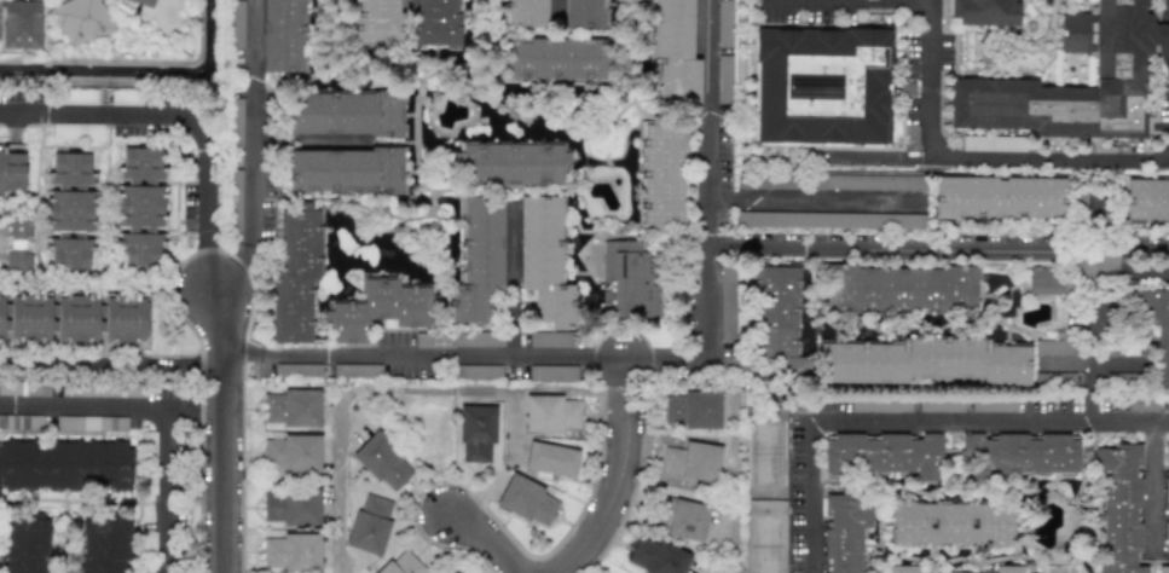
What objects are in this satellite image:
road: (879, 1)
building: (143, 2)
road: (409, 4)
road: (556, 4)
building: (984, 12)
building: (526, 13)
building: (583, 13)
building: (80, 21)
building: (377, 22)
building: (436, 23)
building: (724, 23)
building: (21, 24)
building: (236, 24)
road: (1167, 25)
building: (282, 36)
building: (675, 52)
building: (556, 58)
building: (1117, 65)
building: (724, 79)
building: (822, 86)
building: (79, 95)
building: (347, 114)
road: (147, 118)
road: (308, 143)
building: (993, 143)
road: (250, 149)
road: (976, 155)
building: (511, 162)
building: (11, 170)
building: (345, 170)
building: (661, 176)
building: (870, 181)
road: (811, 197)
building: (999, 197)
building: (1146, 199)
building: (235, 201)
building: (139, 206)
building: (69, 212)
building: (831, 219)
road: (1099, 220)
building: (19, 242)
road: (938, 251)
road: (206, 255)
building: (478, 260)
building: (543, 260)
building: (295, 271)
building: (631, 279)
building: (1044, 280)
road: (509, 283)
building: (899, 288)
building: (727, 301)
building: (378, 308)
building: (75, 318)
building: (777, 318)
building: (1157, 331)
road: (1090, 336)
building: (457, 338)
building: (552, 338)
building: (1054, 347)
road: (644, 355)
road: (199, 357)
road: (87, 360)
building: (922, 361)
road: (623, 369)
building: (297, 370)
building: (355, 370)
building: (476, 371)
building: (552, 372)
building: (1053, 378)
road: (623, 384)
building: (23, 388)
road: (764, 389)
building: (132, 390)
road: (410, 390)
building: (1142, 404)
building: (1167, 404)
road: (83, 405)
road: (202, 405)
building: (939, 405)
road: (173, 407)
building: (291, 407)
building: (694, 409)
building: (551, 413)
road: (916, 418)
building: (21, 421)
road: (351, 421)
building: (91, 423)
building: (475, 424)
road: (225, 427)
building: (291, 452)
building: (882, 455)
building: (1019, 455)
building: (550, 459)
building: (691, 461)
building: (382, 462)
building: (65, 465)
building: (1165, 471)
road: (1151, 482)
road: (734, 485)
road: (619, 487)
road: (166, 490)
park: (766, 490)
building: (527, 500)
building: (291, 507)
building: (1118, 510)
building: (683, 519)
building: (370, 523)
building: (950, 523)
building: (844, 532)
road: (492, 539)
building: (25, 543)
building: (104, 544)
building: (291, 551)
building: (1165, 551)
building: (656, 557)
building: (401, 563)
building: (902, 569)
building: (1006, 569)
building: (453, 571)
road: (731, 571)

